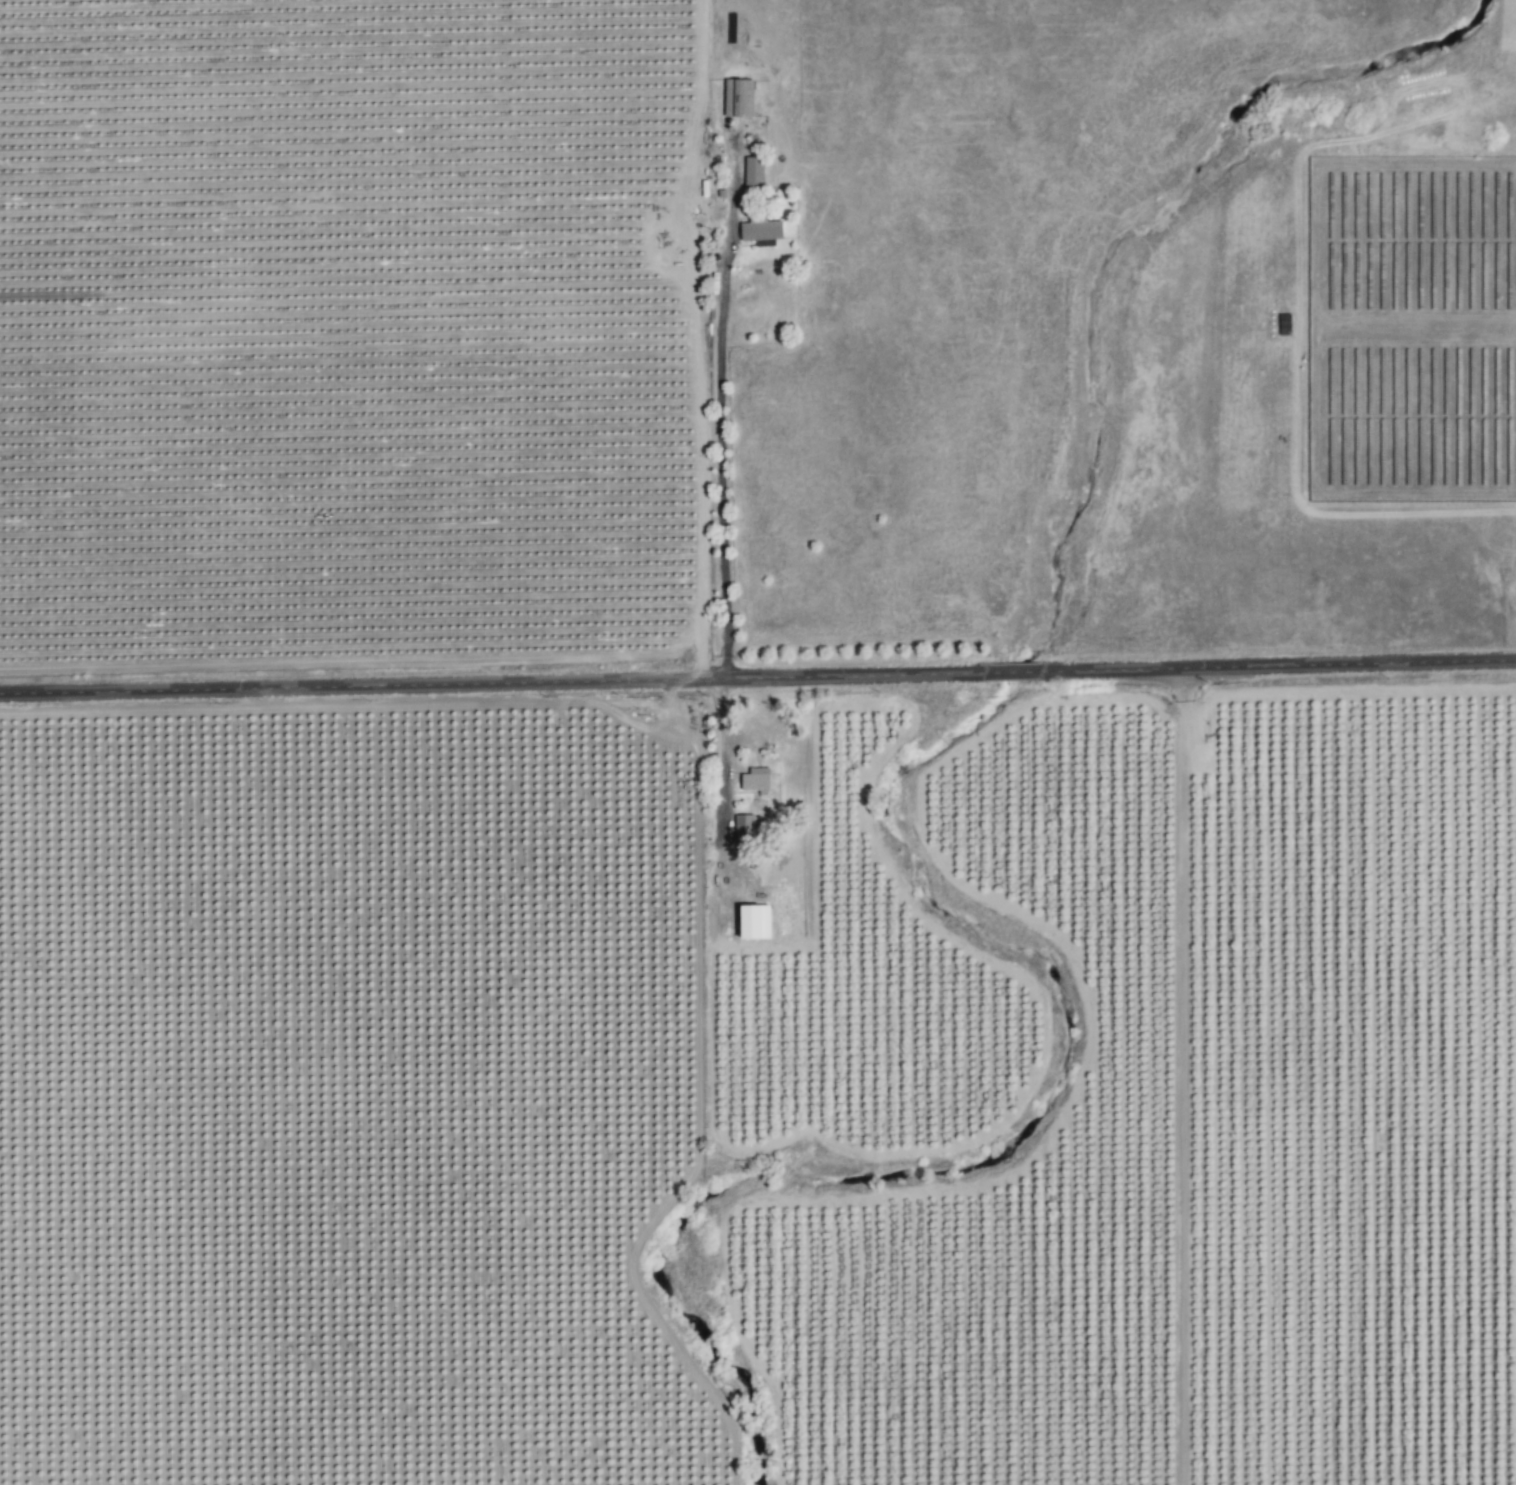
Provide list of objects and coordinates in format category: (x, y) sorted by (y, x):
building: (736, 99)
building: (759, 229)
road: (724, 451)
road: (758, 679)
road: (724, 740)
building: (754, 780)
building: (742, 827)
building: (751, 922)

